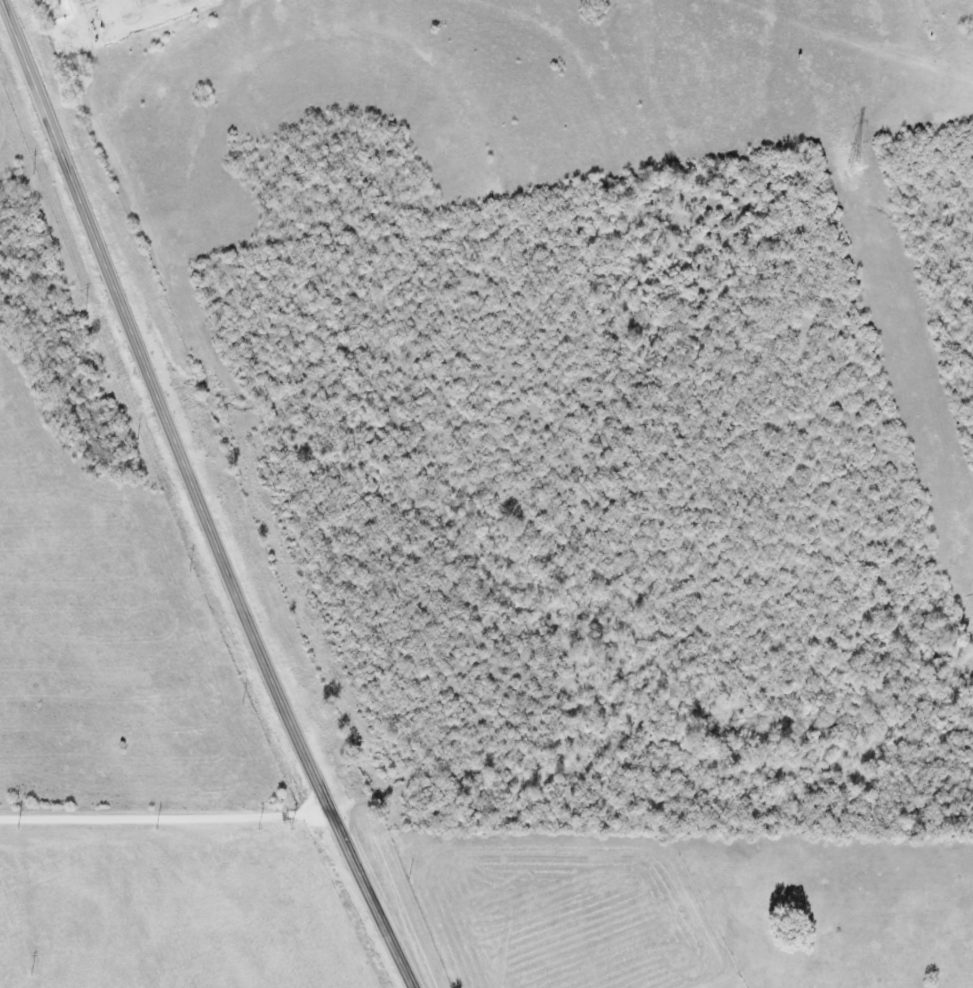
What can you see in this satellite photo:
power tower: (853, 171)
road: (203, 497)

